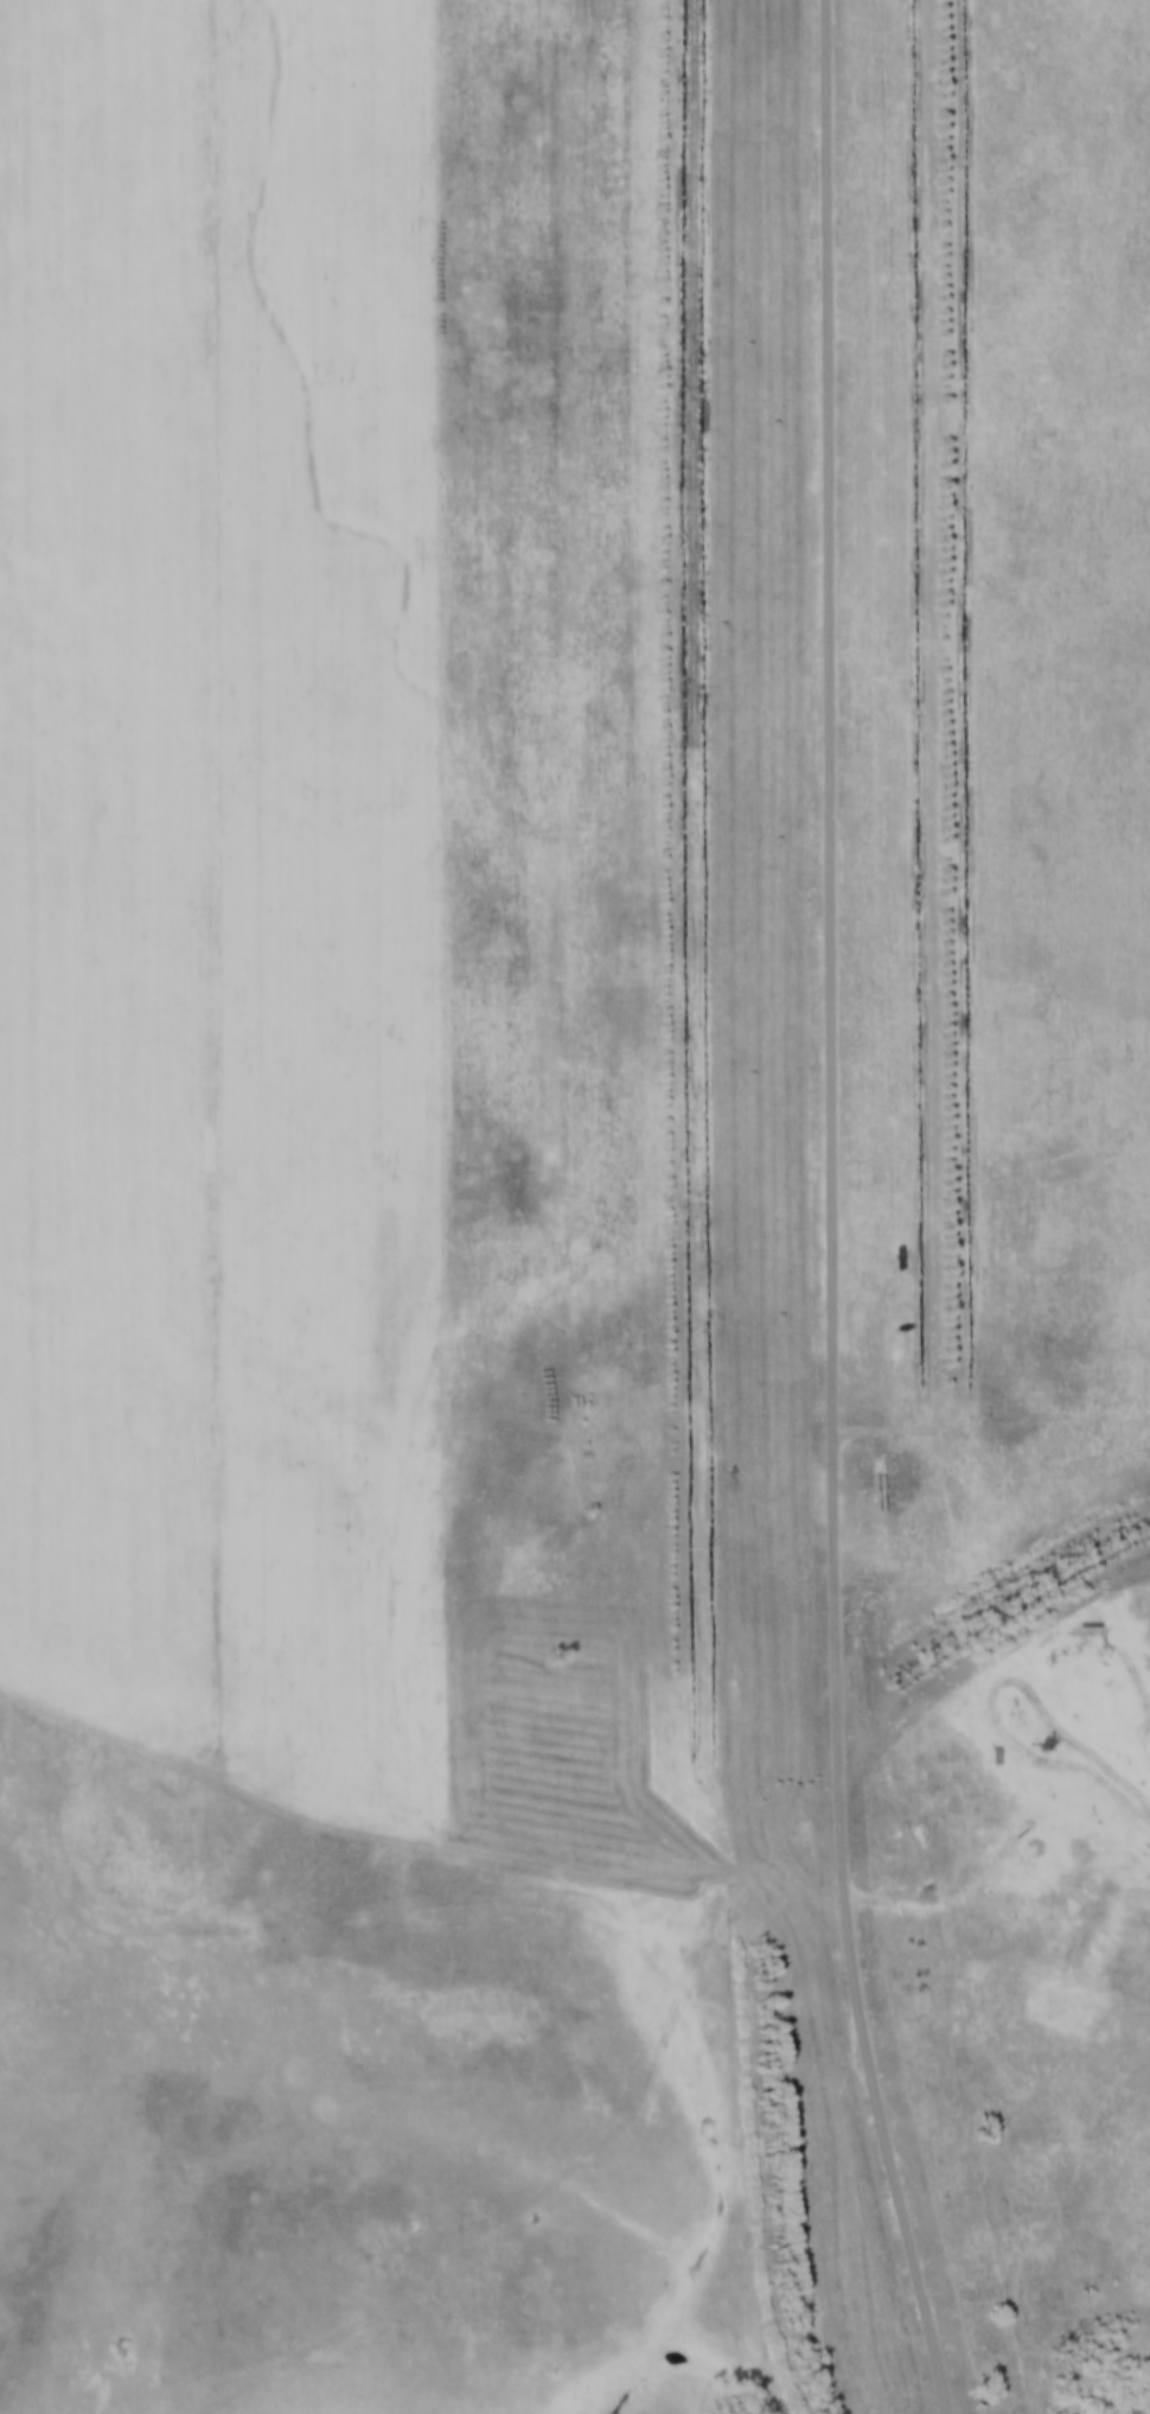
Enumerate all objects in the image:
building: (126, 8)
building: (245, 727)
road: (826, 1211)
road: (359, 1911)

